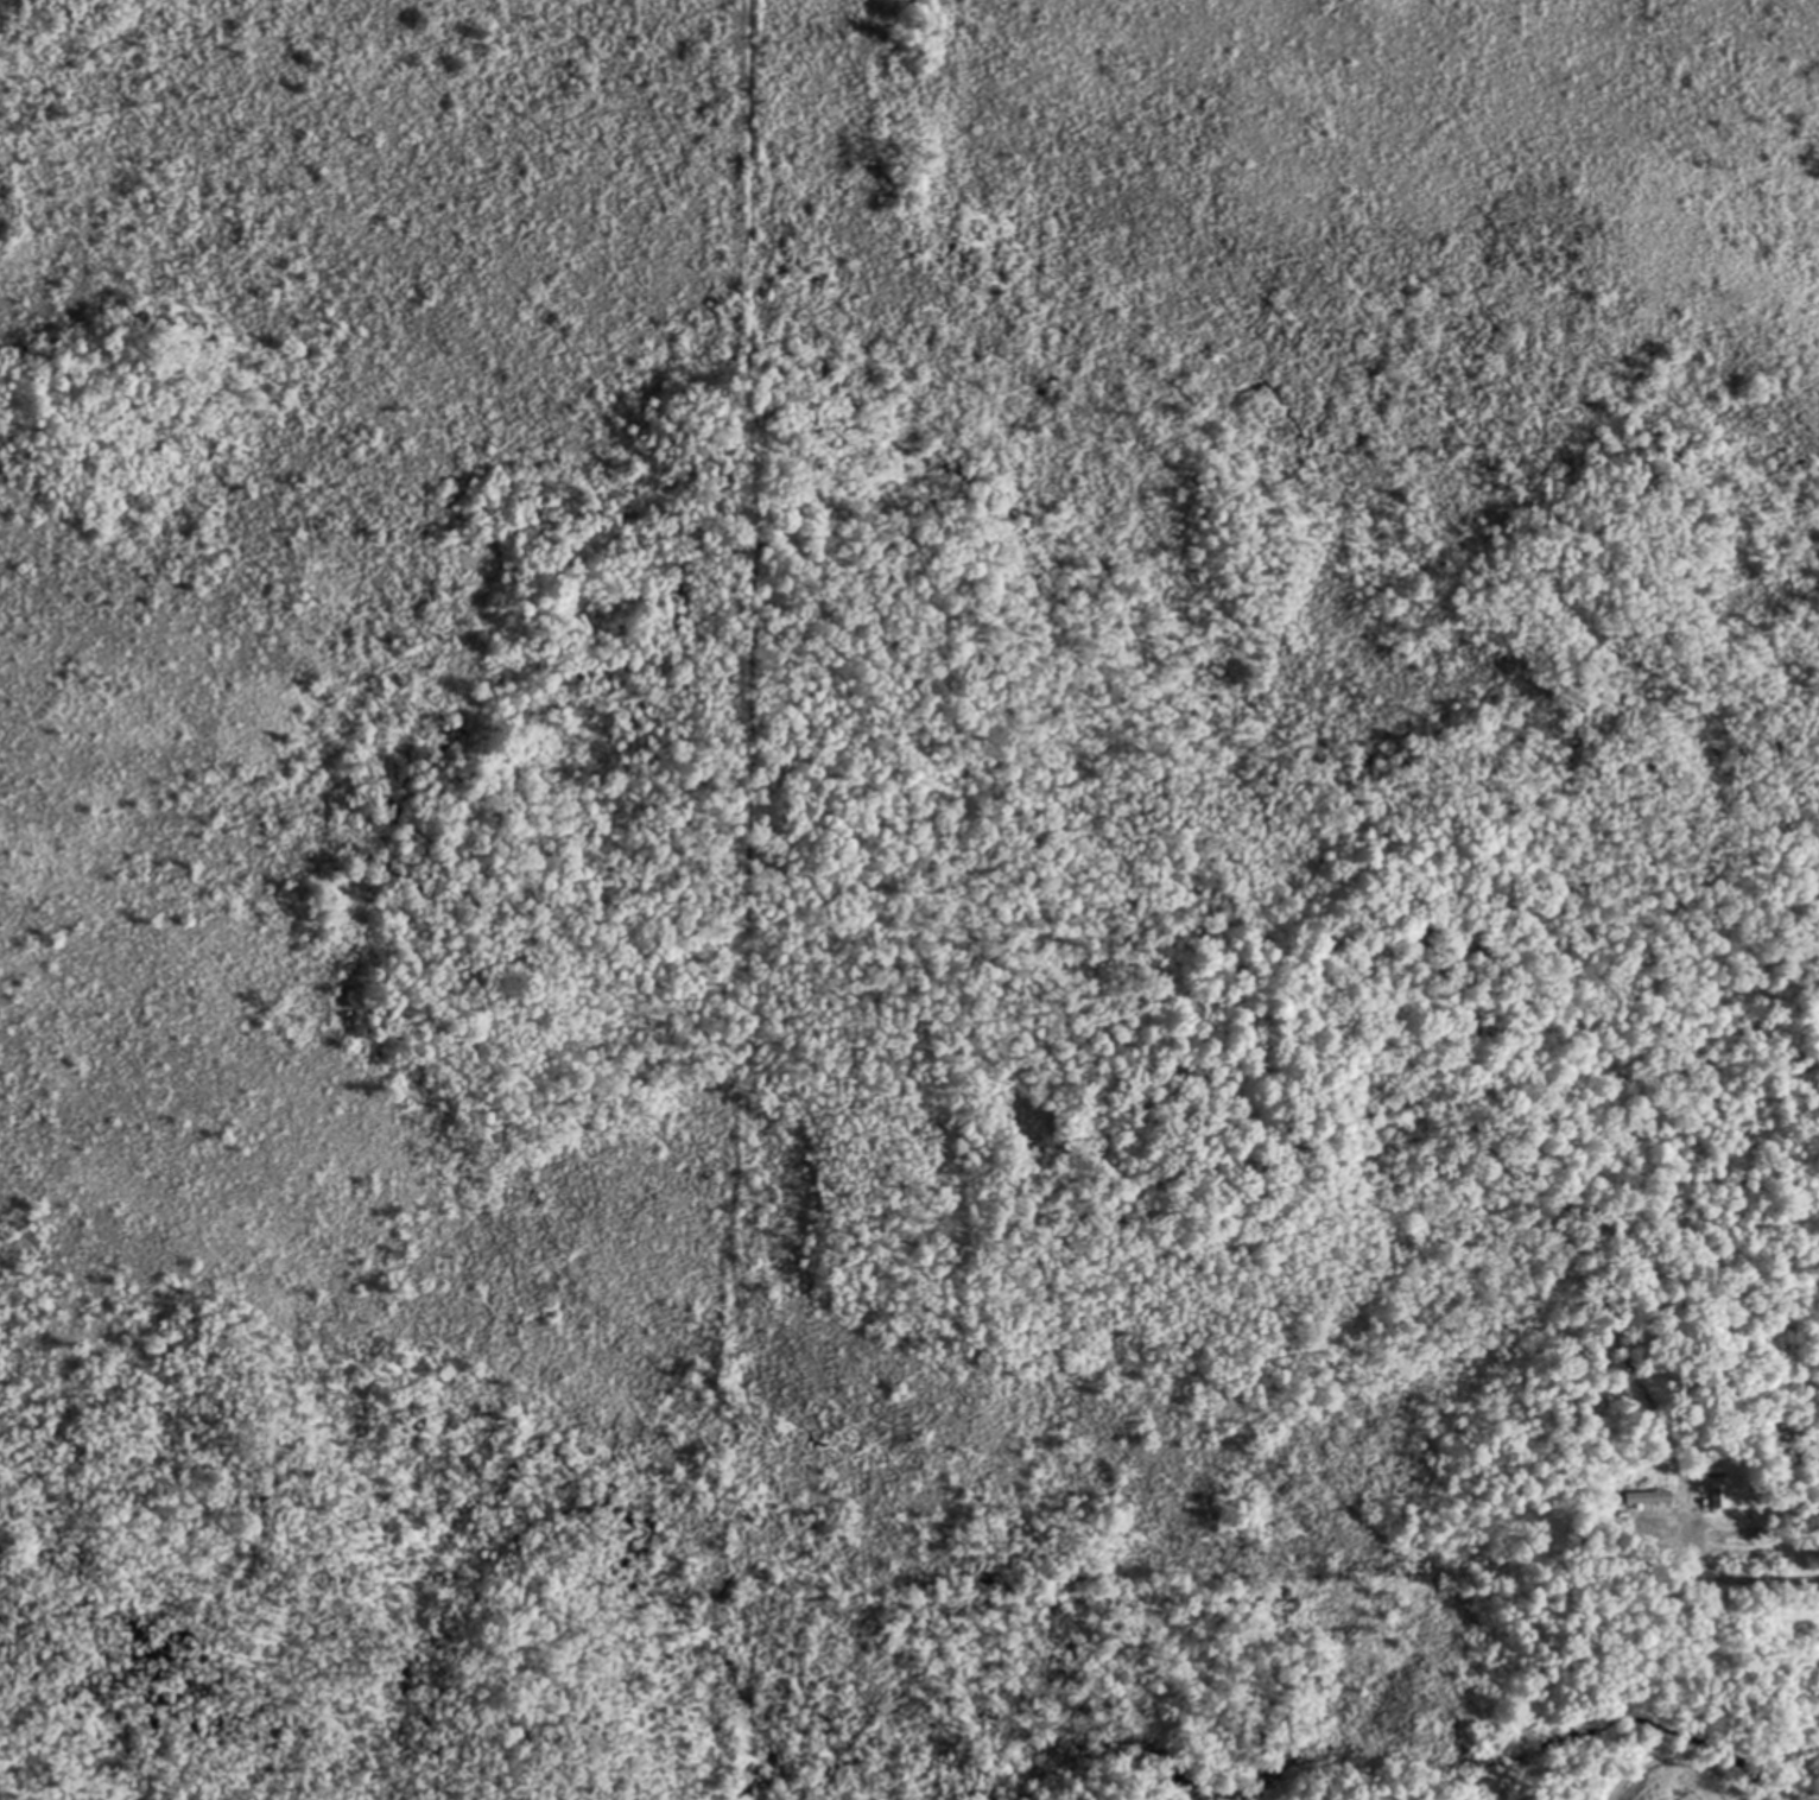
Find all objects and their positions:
building: (1718, 1491)
building: (1649, 1496)
road: (1764, 1583)

